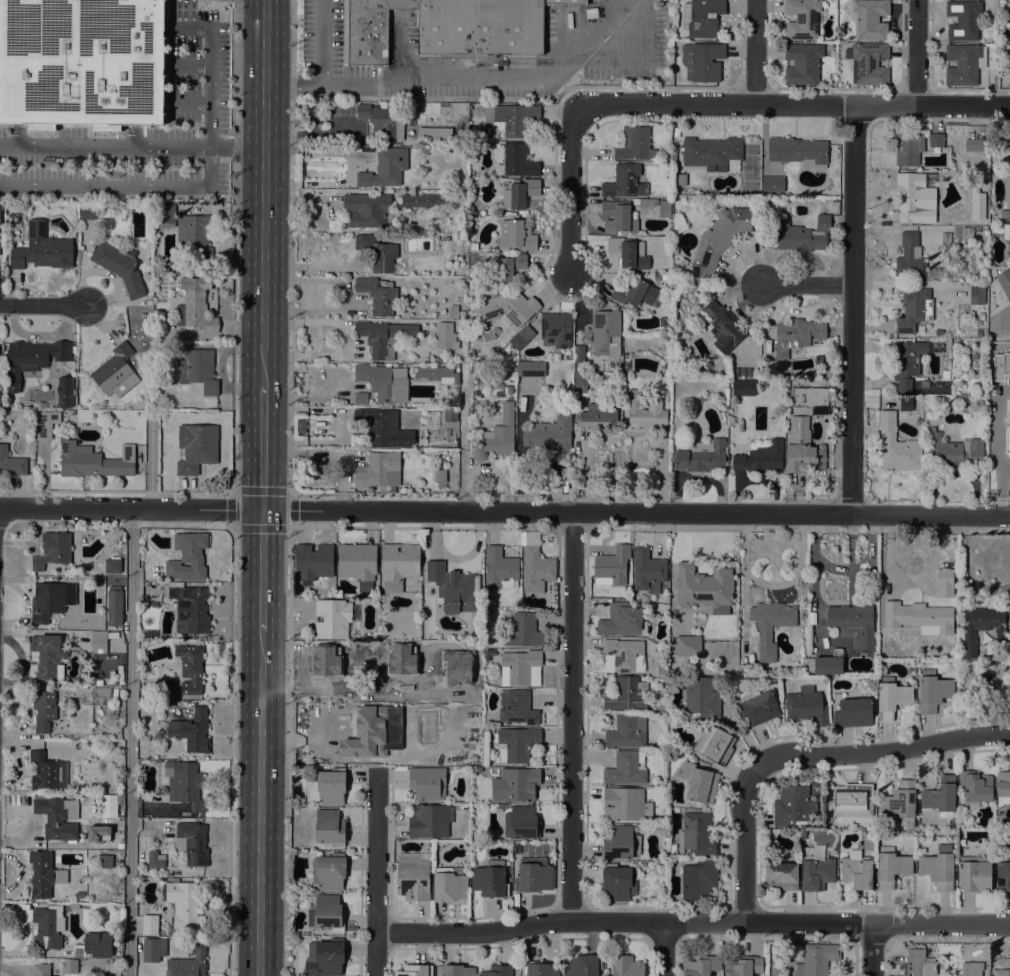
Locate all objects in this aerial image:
building: (702, 17)
building: (802, 18)
building: (870, 18)
building: (963, 20)
building: (446, 27)
road: (189, 28)
parking lot: (321, 35)
road: (293, 46)
road: (754, 52)
road: (917, 52)
building: (1009, 58)
building: (702, 61)
building: (82, 63)
building: (802, 63)
building: (869, 63)
building: (964, 64)
road: (188, 67)
road: (233, 73)
road: (450, 80)
road: (209, 88)
road: (294, 91)
road: (189, 103)
road: (795, 104)
building: (512, 117)
building: (381, 121)
parking lot: (140, 129)
building: (434, 133)
building: (936, 140)
building: (634, 144)
building: (1008, 144)
building: (975, 145)
road: (104, 147)
road: (236, 147)
building: (908, 148)
building: (711, 151)
building: (798, 152)
building: (516, 161)
building: (385, 168)
building: (668, 175)
building: (679, 179)
building: (961, 180)
building: (625, 182)
building: (772, 184)
road: (124, 187)
road: (572, 188)
road: (263, 191)
building: (1007, 193)
building: (519, 194)
building: (909, 198)
building: (421, 201)
building: (645, 202)
building: (974, 206)
building: (366, 208)
building: (664, 208)
building: (87, 212)
building: (1005, 213)
building: (166, 215)
building: (619, 218)
building: (976, 228)
building: (676, 229)
building: (967, 232)
building: (1006, 233)
building: (515, 235)
building: (802, 235)
building: (194, 237)
building: (459, 237)
building: (946, 238)
building: (718, 240)
building: (473, 246)
building: (41, 248)
building: (377, 252)
building: (628, 252)
building: (911, 258)
building: (682, 261)
road: (311, 265)
building: (119, 267)
building: (158, 267)
building: (509, 267)
building: (658, 277)
road: (809, 284)
building: (1003, 284)
building: (632, 292)
building: (976, 294)
building: (378, 295)
road: (350, 300)
road: (43, 304)
building: (508, 308)
road: (853, 309)
building: (914, 309)
building: (195, 311)
building: (453, 312)
building: (981, 316)
building: (166, 318)
building: (722, 327)
building: (555, 330)
building: (605, 333)
building: (446, 335)
building: (796, 335)
building: (383, 337)
building: (521, 337)
building: (1009, 349)
building: (578, 354)
building: (625, 356)
building: (973, 356)
building: (33, 358)
building: (437, 360)
building: (997, 361)
building: (906, 363)
building: (529, 368)
building: (198, 370)
building: (115, 372)
building: (741, 372)
building: (437, 374)
building: (945, 374)
building: (581, 381)
building: (383, 382)
building: (922, 382)
building: (487, 384)
building: (743, 388)
building: (507, 390)
building: (64, 392)
building: (830, 395)
building: (360, 398)
building: (905, 404)
building: (964, 406)
building: (819, 411)
building: (643, 412)
building: (68, 414)
building: (450, 415)
building: (598, 415)
building: (1009, 419)
building: (918, 422)
building: (45, 424)
building: (383, 427)
building: (500, 433)
building: (548, 433)
building: (355, 439)
building: (896, 445)
road: (262, 446)
building: (196, 447)
building: (802, 448)
building: (952, 448)
building: (478, 455)
building: (701, 456)
building: (760, 458)
building: (93, 460)
building: (11, 462)
road: (150, 464)
building: (378, 470)
road: (583, 474)
building: (439, 476)
road: (697, 478)
road: (288, 492)
traffic signals: (262, 510)
road: (504, 511)
building: (52, 549)
building: (187, 557)
building: (313, 561)
building: (356, 561)
building: (112, 564)
building: (398, 564)
building: (534, 564)
building: (612, 565)
building: (499, 569)
road: (261, 571)
building: (647, 571)
building: (943, 581)
building: (703, 586)
building: (453, 587)
building: (46, 601)
building: (491, 602)
building: (114, 605)
building: (190, 609)
building: (923, 617)
building: (331, 619)
building: (622, 620)
building: (853, 623)
building: (769, 625)
building: (982, 629)
building: (525, 631)
building: (143, 634)
building: (98, 642)
building: (687, 646)
building: (625, 654)
building: (48, 656)
building: (826, 663)
building: (519, 666)
building: (190, 668)
building: (989, 677)
building: (100, 682)
building: (121, 682)
building: (166, 690)
building: (932, 691)
building: (626, 694)
building: (101, 695)
building: (702, 697)
building: (891, 697)
building: (758, 706)
building: (806, 707)
building: (517, 708)
building: (43, 710)
building: (418, 711)
building: (853, 713)
road: (570, 716)
building: (192, 730)
building: (489, 730)
building: (627, 731)
building: (386, 739)
road: (130, 742)
building: (516, 744)
building: (714, 745)
road: (230, 750)
road: (287, 750)
road: (880, 751)
building: (624, 769)
building: (47, 772)
building: (427, 783)
building: (699, 783)
building: (184, 784)
building: (1003, 784)
building: (516, 785)
building: (975, 787)
building: (326, 788)
building: (940, 796)
building: (853, 800)
building: (900, 802)
building: (623, 803)
road: (259, 804)
building: (107, 805)
building: (792, 805)
building: (503, 806)
building: (646, 810)
building: (57, 816)
building: (429, 821)
building: (520, 822)
building: (329, 827)
building: (696, 834)
building: (191, 843)
building: (620, 843)
road: (743, 844)
building: (516, 848)
road: (374, 855)
building: (155, 859)
building: (104, 861)
building: (891, 866)
building: (938, 867)
building: (856, 870)
building: (815, 871)
building: (329, 872)
building: (1002, 873)
building: (43, 874)
building: (974, 874)
building: (534, 875)
building: (413, 876)
building: (780, 876)
building: (490, 879)
building: (698, 880)
building: (618, 882)
building: (448, 885)
building: (80, 894)
building: (73, 906)
building: (184, 906)
building: (153, 910)
building: (324, 912)
road: (790, 924)
building: (149, 925)
building: (48, 927)
road: (472, 932)
building: (93, 946)
building: (152, 949)
road: (662, 949)
road: (873, 951)
road: (375, 954)
building: (324, 958)
building: (816, 959)
building: (189, 962)
building: (919, 963)
building: (582, 965)
building: (625, 966)
building: (700, 966)
building: (742, 966)
building: (69, 967)
building: (999, 967)
building: (539, 969)
building: (971, 969)
building: (41, 970)
building: (414, 970)
building: (455, 970)
building: (497, 970)

